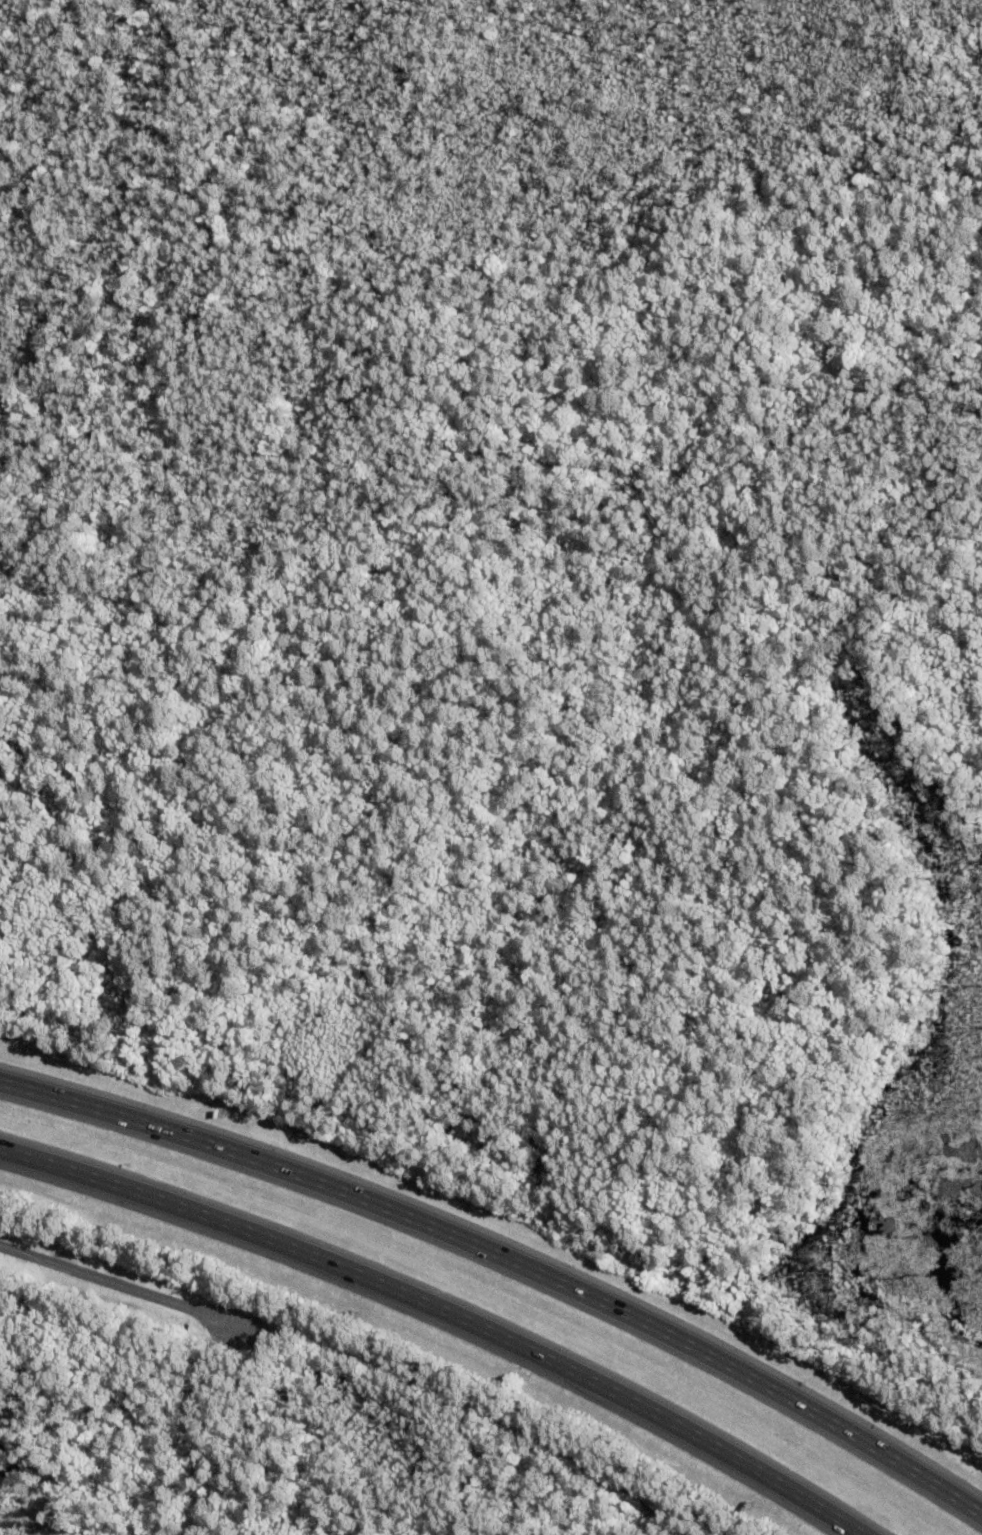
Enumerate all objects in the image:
road: (507, 1254)
road: (129, 1287)
road: (443, 1311)

